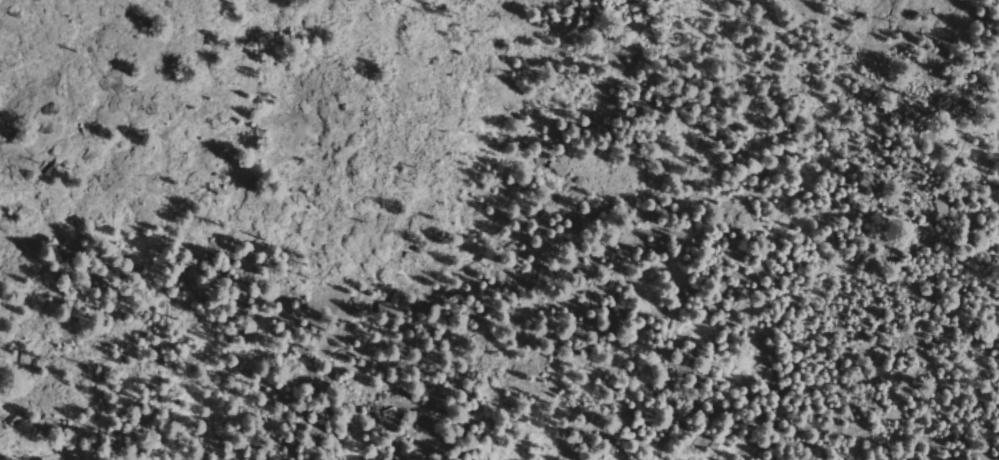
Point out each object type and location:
road: (764, 2)
road: (889, 45)

